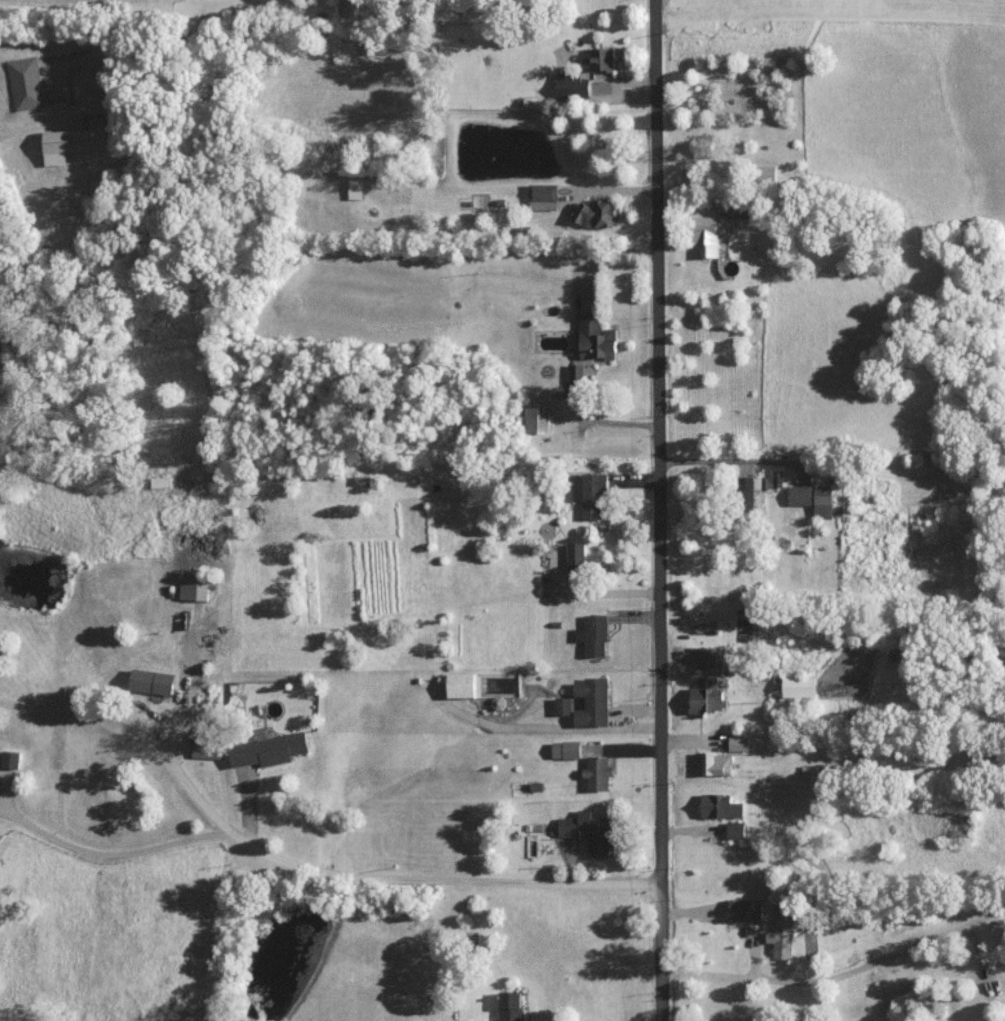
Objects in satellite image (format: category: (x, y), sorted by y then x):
park: (842, 10)
road: (177, 32)
building: (599, 58)
building: (26, 83)
building: (572, 85)
building: (80, 140)
building: (355, 188)
building: (543, 195)
building: (737, 209)
building: (598, 212)
building: (709, 233)
building: (597, 337)
building: (577, 374)
building: (537, 418)
road: (723, 461)
building: (752, 490)
building: (590, 494)
building: (813, 497)
road: (660, 510)
building: (575, 554)
building: (194, 586)
building: (594, 635)
building: (708, 657)
building: (153, 681)
road: (179, 681)
building: (463, 685)
building: (801, 686)
building: (708, 696)
building: (593, 702)
building: (563, 705)
road: (635, 712)
road: (551, 730)
building: (740, 743)
building: (207, 744)
building: (270, 749)
building: (567, 749)
building: (11, 759)
building: (714, 763)
building: (598, 773)
building: (722, 806)
building: (737, 830)
building: (592, 831)
road: (108, 843)
road: (303, 857)
building: (747, 909)
road: (733, 919)
building: (783, 933)
road: (839, 973)
building: (510, 1006)

